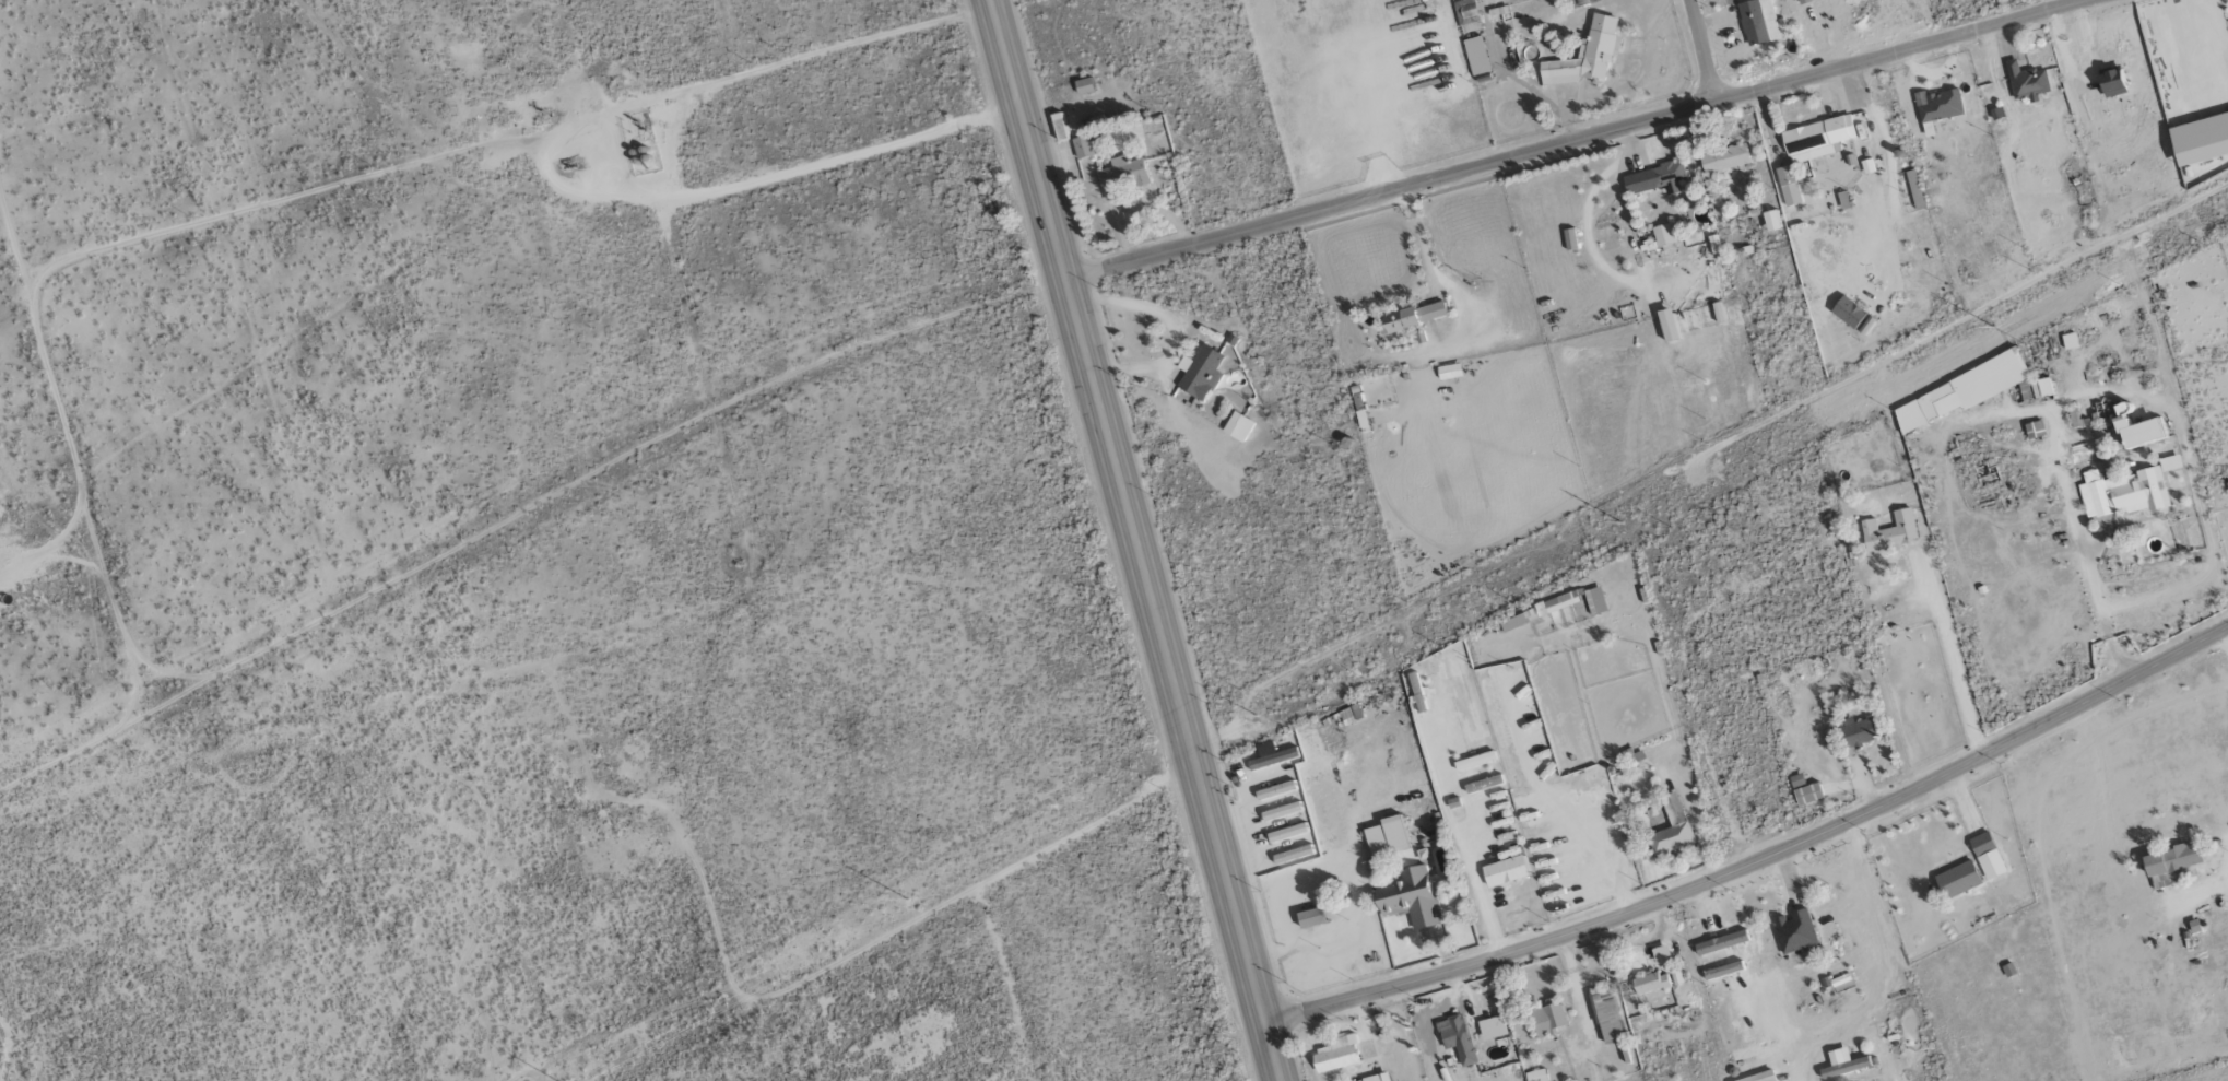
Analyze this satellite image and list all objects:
building: (1803, 1)
building: (1581, 2)
building: (1760, 22)
road: (1704, 51)
building: (1587, 54)
building: (1476, 55)
building: (2026, 81)
building: (2110, 82)
building: (1083, 85)
building: (1941, 105)
building: (1060, 126)
building: (1816, 138)
building: (2200, 138)
road: (1579, 140)
building: (1085, 145)
building: (1724, 158)
building: (1121, 175)
building: (1654, 178)
building: (1788, 185)
building: (1913, 189)
building: (1771, 220)
building: (1662, 234)
road: (1602, 265)
building: (1848, 312)
building: (1411, 317)
building: (2070, 340)
building: (1199, 373)
building: (2041, 387)
building: (2025, 390)
building: (1960, 391)
building: (2074, 416)
building: (1238, 426)
building: (2034, 428)
building: (2137, 428)
building: (2170, 463)
building: (2122, 492)
building: (1889, 531)
road: (1136, 540)
building: (1594, 600)
building: (1558, 602)
building: (1512, 622)
road: (2226, 634)
road: (1952, 659)
building: (1351, 714)
building: (1856, 731)
building: (1474, 761)
building: (1796, 780)
building: (1484, 784)
building: (1807, 794)
building: (1671, 827)
building: (1386, 836)
road: (1759, 855)
building: (1987, 855)
building: (2171, 859)
building: (1504, 871)
building: (1957, 880)
building: (1410, 897)
building: (1310, 917)
building: (2193, 926)
building: (1794, 931)
building: (1721, 942)
building: (1660, 954)
building: (1723, 971)
building: (1650, 984)
building: (1606, 1015)
building: (1548, 1019)
building: (1497, 1030)
building: (1457, 1038)
building: (1336, 1055)
building: (1844, 1067)
building: (1536, 1076)
building: (1760, 1077)
building: (1374, 1078)

